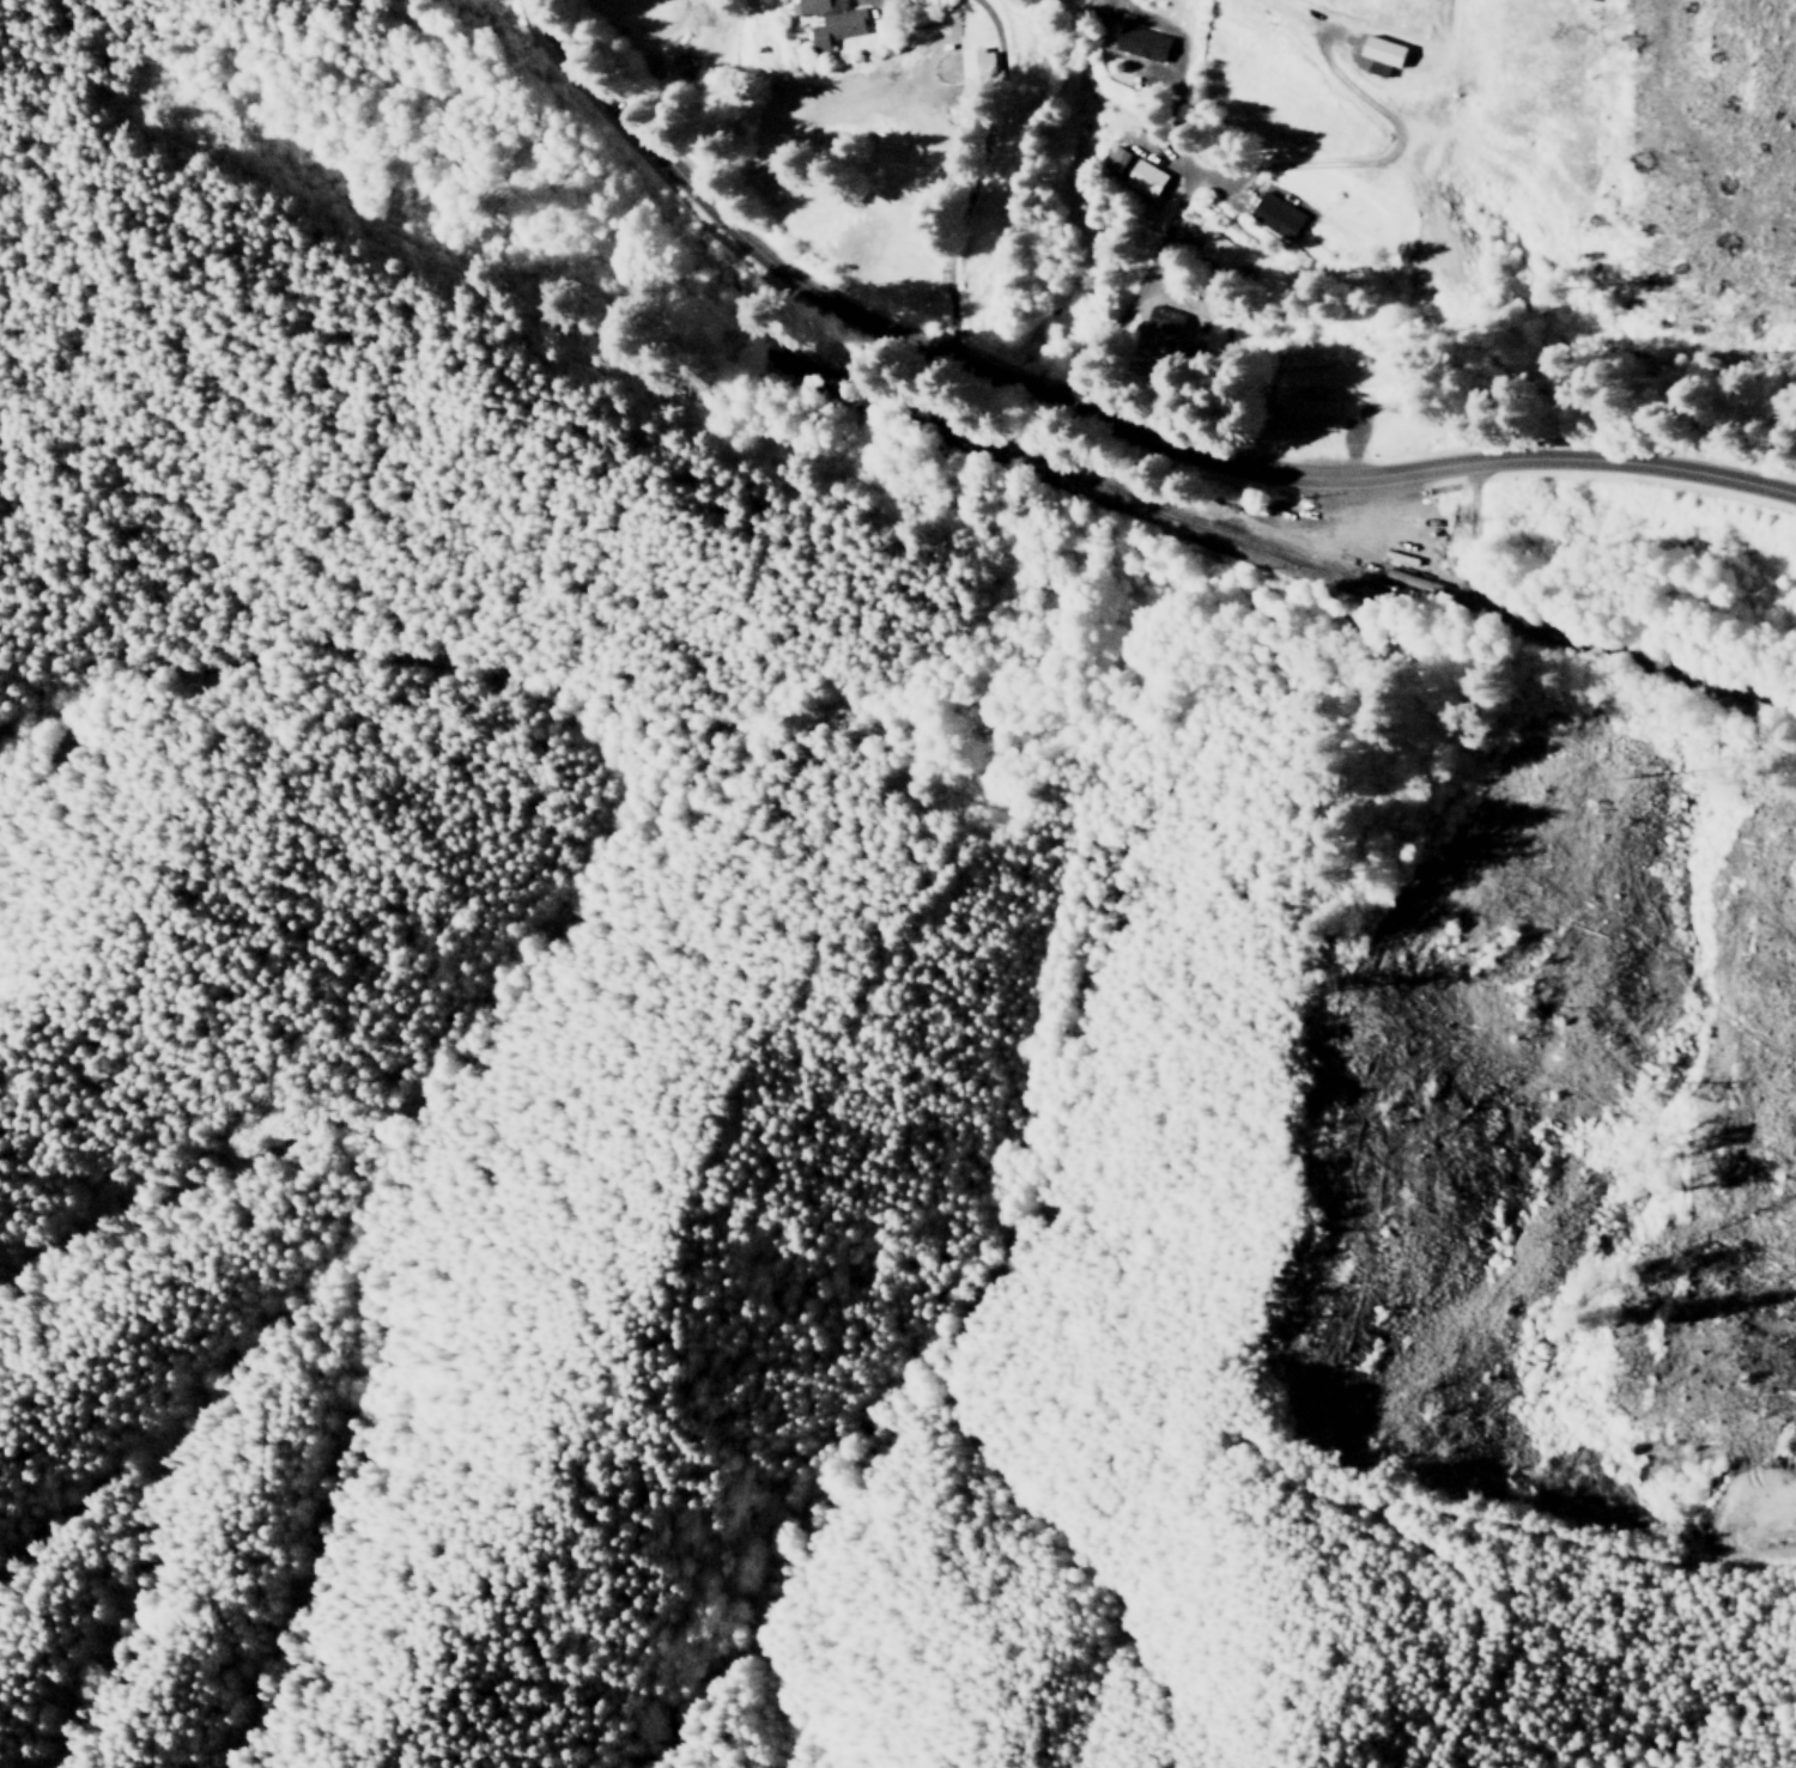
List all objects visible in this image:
building: (837, 28)
road: (999, 35)
building: (1140, 42)
building: (1382, 54)
road: (1027, 73)
building: (1135, 171)
building: (1279, 215)
railway: (826, 390)
building: (1310, 412)
road: (1097, 417)
railway: (1237, 524)
road: (1609, 573)
railway: (1731, 681)

